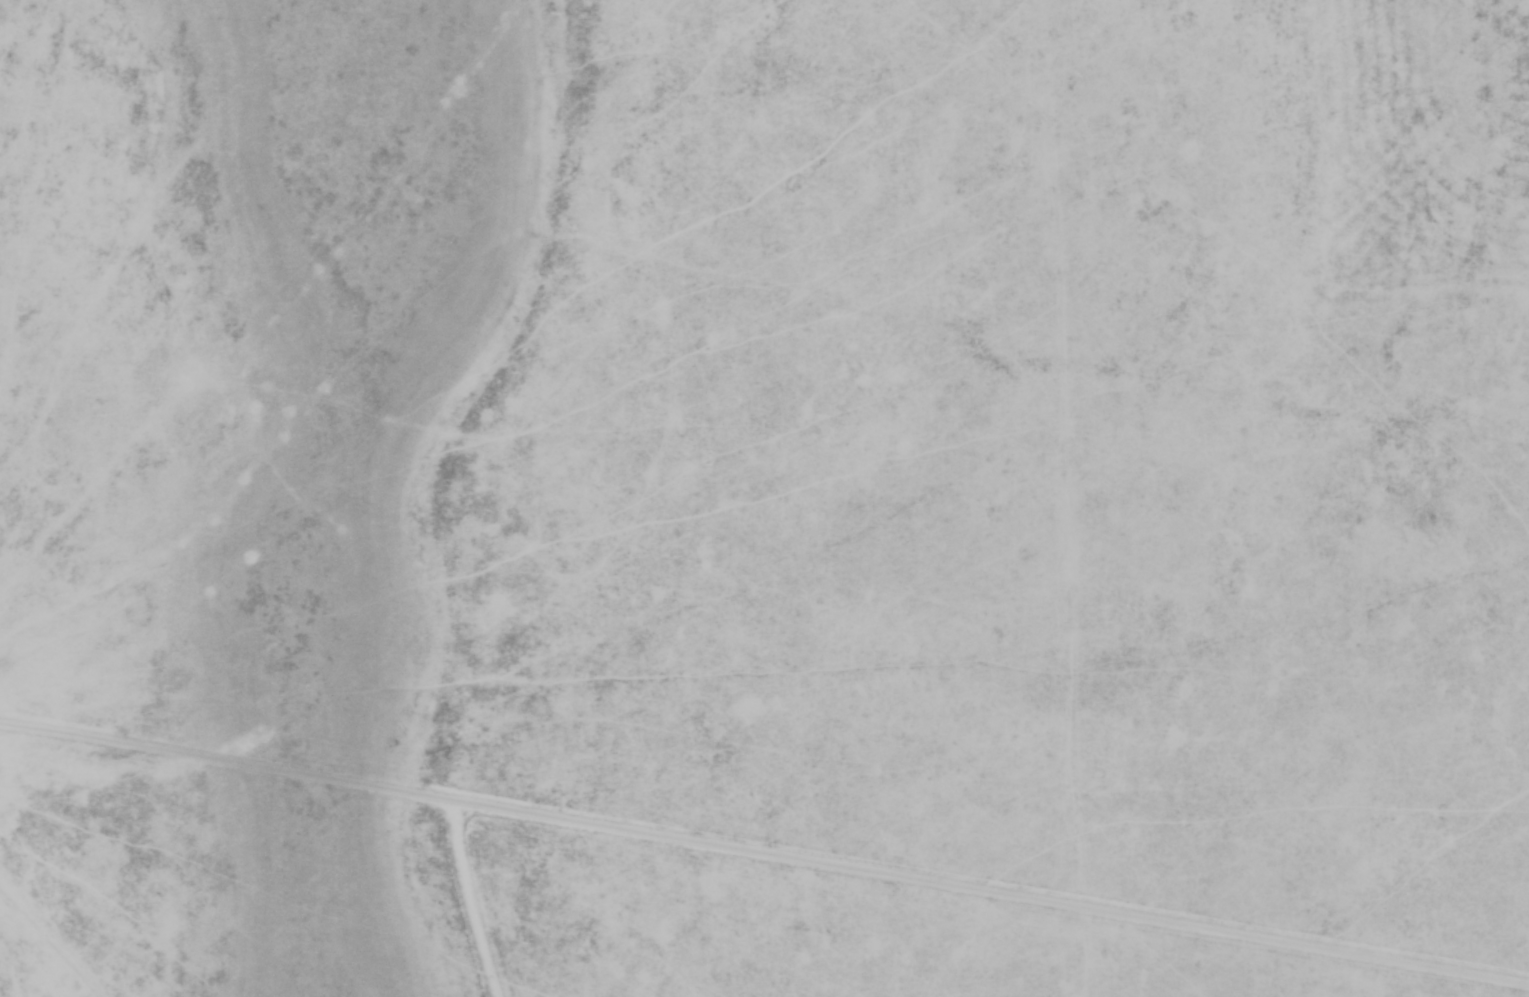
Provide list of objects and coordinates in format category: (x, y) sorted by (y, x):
road: (215, 768)
road: (450, 905)
road: (960, 912)

